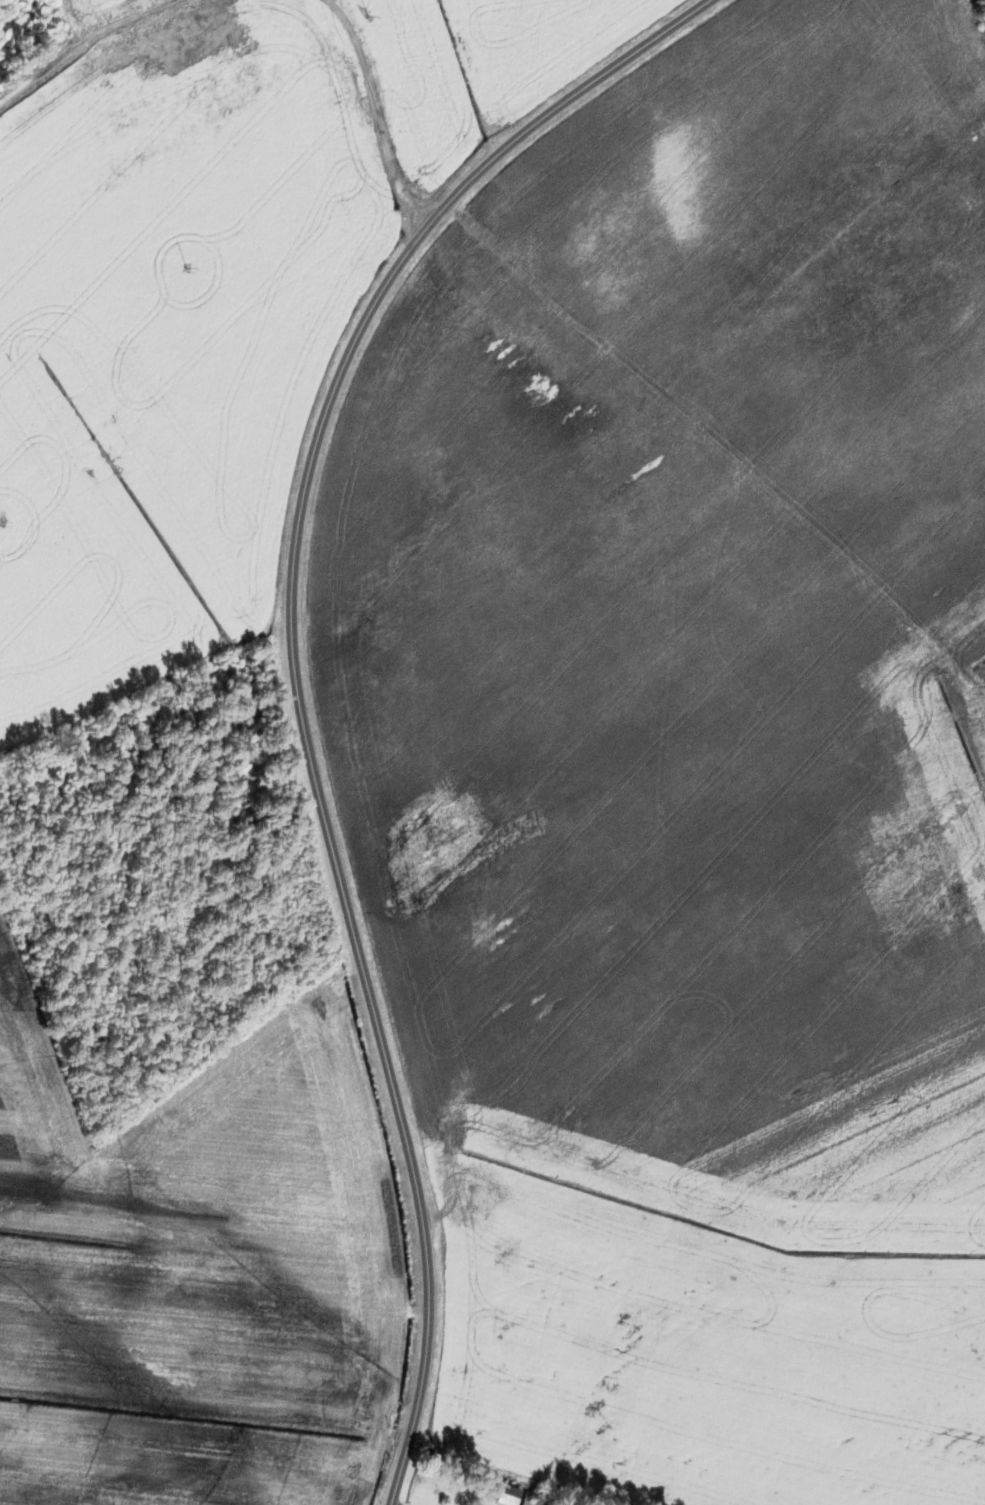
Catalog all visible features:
road: (81, 45)
road: (561, 102)
road: (377, 111)
road: (333, 853)
building: (508, 1495)
building: (530, 1499)

